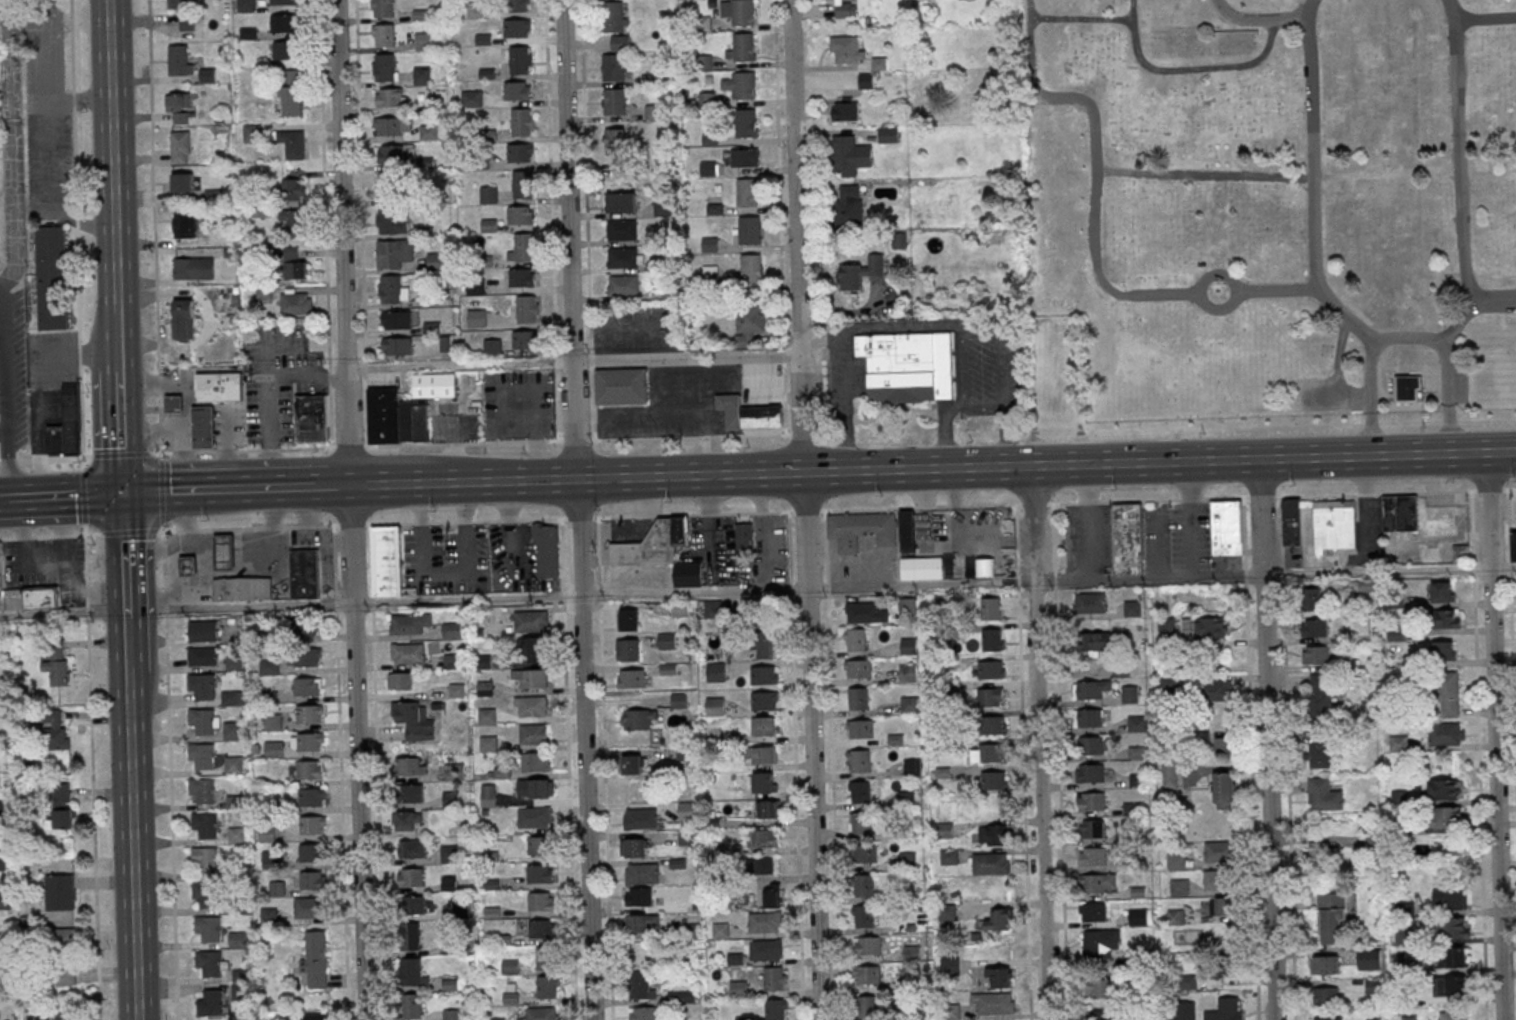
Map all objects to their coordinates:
building: (283, 2)
building: (179, 4)
building: (519, 5)
building: (246, 6)
building: (382, 8)
building: (846, 9)
building: (738, 11)
road: (1484, 16)
building: (614, 17)
road: (1073, 18)
road: (1257, 19)
building: (186, 23)
building: (283, 23)
building: (517, 28)
building: (382, 35)
building: (422, 41)
building: (620, 42)
building: (741, 47)
building: (847, 49)
building: (284, 50)
building: (179, 60)
building: (519, 60)
road: (11, 66)
building: (613, 67)
building: (383, 68)
road: (1189, 68)
building: (421, 75)
building: (866, 80)
building: (741, 85)
building: (516, 91)
road: (1058, 94)
building: (390, 97)
building: (471, 99)
building: (291, 100)
building: (614, 102)
road: (73, 103)
building: (180, 108)
building: (845, 108)
building: (522, 122)
building: (745, 123)
building: (392, 126)
building: (251, 133)
building: (428, 133)
building: (888, 133)
building: (615, 141)
building: (293, 145)
building: (180, 148)
road: (111, 149)
building: (519, 153)
building: (390, 154)
building: (849, 155)
building: (744, 158)
building: (621, 167)
road: (1100, 170)
road: (1457, 170)
road: (778, 174)
road: (549, 177)
road: (585, 177)
building: (182, 183)
road: (1312, 183)
building: (522, 184)
building: (388, 186)
road: (48, 189)
building: (292, 189)
building: (747, 192)
building: (488, 195)
building: (621, 202)
building: (850, 205)
building: (662, 208)
building: (262, 211)
building: (521, 215)
park: (1267, 217)
road: (76, 218)
building: (391, 220)
building: (292, 222)
road: (361, 223)
building: (185, 224)
road: (324, 224)
road: (153, 230)
building: (622, 230)
building: (749, 230)
building: (709, 244)
building: (522, 248)
building: (397, 253)
building: (621, 258)
building: (438, 261)
building: (294, 263)
building: (192, 268)
building: (751, 268)
building: (860, 272)
building: (522, 276)
building: (715, 276)
building: (52, 277)
building: (622, 286)
building: (392, 290)
road: (1280, 291)
building: (296, 303)
road: (1200, 309)
building: (525, 312)
road: (851, 313)
building: (476, 318)
building: (184, 320)
building: (396, 320)
road: (1461, 321)
building: (749, 324)
road: (878, 327)
road: (117, 334)
road: (1407, 336)
building: (525, 340)
road: (1338, 345)
building: (397, 346)
building: (492, 348)
road: (78, 349)
road: (72, 352)
road: (783, 355)
road: (591, 361)
road: (555, 362)
road: (573, 362)
building: (907, 365)
road: (961, 366)
road: (1001, 381)
building: (620, 384)
building: (220, 386)
building: (436, 386)
road: (171, 387)
building: (1405, 387)
parking lot: (1321, 393)
road: (269, 394)
road: (1359, 397)
road: (7, 398)
building: (174, 402)
road: (784, 402)
road: (845, 402)
road: (593, 409)
road: (893, 409)
road: (557, 410)
road: (982, 411)
road: (940, 412)
building: (748, 414)
building: (396, 418)
building: (312, 419)
road: (844, 419)
road: (826, 422)
road: (809, 423)
building: (66, 425)
building: (204, 426)
road: (4, 427)
road: (204, 427)
road: (157, 429)
road: (945, 430)
road: (121, 432)
road: (821, 432)
road: (802, 435)
road: (819, 435)
road: (689, 437)
road: (575, 440)
road: (462, 444)
road: (38, 445)
road: (349, 447)
road: (242, 451)
road: (229, 454)
road: (121, 455)
road: (787, 457)
road: (822, 457)
road: (54, 459)
road: (1159, 461)
road: (8, 463)
road: (595, 464)
road: (558, 465)
road: (576, 478)
road: (321, 486)
road: (342, 486)
road: (215, 489)
road: (1480, 490)
road: (161, 491)
road: (1434, 491)
road: (1399, 492)
road: (1365, 493)
traffic signals: (124, 494)
road: (1315, 495)
road: (74, 496)
road: (1261, 496)
road: (12, 498)
road: (83, 498)
road: (1224, 498)
road: (1190, 499)
road: (1138, 500)
road: (1062, 502)
road: (1087, 502)
road: (1033, 503)
road: (993, 504)
road: (940, 506)
road: (956, 506)
road: (924, 507)
road: (867, 508)
road: (576, 509)
road: (804, 509)
road: (349, 510)
road: (806, 510)
building: (1399, 512)
road: (183, 517)
road: (1190, 520)
road: (474, 521)
building: (1291, 521)
building: (1335, 524)
building: (1225, 527)
building: (861, 529)
road: (308, 530)
building: (907, 530)
road: (128, 532)
road: (49, 535)
building: (744, 536)
building: (1127, 537)
road: (1053, 539)
road: (1016, 540)
building: (1514, 545)
road: (26, 546)
building: (546, 550)
building: (225, 551)
road: (259, 552)
building: (1460, 552)
road: (598, 553)
building: (1430, 553)
road: (562, 555)
road: (125, 556)
building: (387, 560)
road: (203, 564)
building: (188, 565)
building: (922, 567)
road: (63, 570)
building: (304, 573)
building: (687, 573)
road: (1054, 582)
road: (1017, 583)
road: (1047, 583)
road: (457, 585)
building: (243, 589)
building: (1441, 591)
building: (26, 595)
road: (599, 596)
road: (563, 598)
building: (1311, 598)
building: (1090, 602)
road: (352, 604)
building: (991, 608)
building: (1133, 608)
building: (867, 611)
road: (63, 616)
building: (1446, 618)
building: (628, 619)
building: (530, 621)
building: (409, 623)
building: (304, 625)
building: (1206, 626)
building: (1314, 627)
building: (1166, 628)
building: (452, 630)
building: (202, 631)
building: (1396, 632)
building: (855, 639)
building: (993, 639)
building: (666, 640)
building: (1097, 641)
building: (765, 643)
road: (128, 645)
building: (909, 645)
building: (533, 647)
building: (627, 649)
building: (1443, 649)
building: (408, 653)
building: (1315, 653)
building: (202, 656)
road: (1511, 657)
building: (307, 658)
building: (453, 661)
building: (234, 663)
building: (55, 667)
building: (268, 667)
building: (858, 667)
building: (991, 668)
building: (715, 671)
building: (907, 672)
building: (764, 674)
building: (631, 677)
building: (532, 678)
building: (400, 681)
building: (1169, 683)
building: (306, 686)
building: (201, 687)
building: (1090, 688)
building: (485, 689)
building: (457, 690)
building: (1215, 690)
building: (1130, 693)
building: (1320, 694)
building: (1446, 694)
building: (991, 696)
building: (858, 697)
building: (232, 698)
building: (679, 700)
building: (764, 700)
building: (909, 703)
building: (531, 706)
building: (309, 714)
building: (1088, 717)
building: (637, 718)
building: (413, 720)
building: (203, 722)
building: (272, 722)
building: (1137, 723)
building: (994, 724)
building: (764, 725)
building: (862, 728)
building: (232, 730)
building: (55, 731)
building: (1446, 733)
building: (533, 734)
road: (1493, 736)
road: (1266, 739)
building: (308, 742)
road: (1039, 742)
building: (1091, 744)
building: (1223, 745)
building: (1321, 748)
building: (273, 749)
building: (987, 752)
building: (762, 754)
road: (1478, 754)
building: (204, 756)
building: (859, 760)
building: (535, 762)
building: (632, 764)
road: (831, 764)
building: (234, 765)
road: (794, 765)
building: (911, 766)
building: (408, 767)
building: (309, 770)
road: (168, 771)
building: (1089, 772)
road: (91, 773)
building: (1170, 775)
building: (995, 779)
building: (765, 782)
building: (541, 788)
building: (1444, 788)
building: (1223, 789)
building: (203, 790)
building: (58, 791)
building: (859, 791)
building: (411, 793)
building: (487, 795)
building: (1323, 795)
building: (312, 797)
building: (450, 799)
building: (1091, 801)
road: (1060, 804)
road: (1024, 805)
building: (768, 808)
road: (605, 811)
building: (685, 811)
road: (568, 812)
building: (1447, 815)
building: (533, 818)
building: (640, 818)
building: (60, 820)
building: (408, 821)
building: (861, 823)
building: (204, 825)
building: (312, 825)
building: (1092, 828)
building: (992, 833)
building: (265, 834)
building: (236, 835)
building: (686, 837)
building: (763, 838)
road: (132, 845)
building: (539, 845)
building: (633, 847)
building: (411, 849)
building: (1218, 851)
building: (310, 852)
building: (1327, 852)
building: (863, 853)
building: (448, 854)
building: (1093, 855)
building: (205, 859)
building: (907, 859)
building: (1176, 859)
building: (997, 862)
building: (2, 863)
building: (763, 865)
building: (539, 873)
building: (642, 873)
building: (410, 878)
building: (1214, 879)
building: (312, 880)
building: (1098, 882)
building: (862, 884)
building: (1179, 887)
building: (57, 892)
building: (203, 894)
building: (772, 895)
building: (638, 896)
building: (5, 900)
building: (541, 901)
building: (413, 905)
building: (1222, 905)
building: (308, 907)
building: (460, 909)
building: (1094, 911)
building: (947, 912)
building: (863, 915)
building: (1176, 916)
building: (1332, 917)
building: (999, 920)
building: (763, 921)
building: (642, 922)
building: (1452, 926)
building: (207, 928)
building: (540, 928)
building: (720, 929)
building: (1403, 935)
building: (411, 936)
building: (65, 941)
building: (1101, 942)
building: (867, 944)
building: (765, 949)
building: (911, 951)
building: (1452, 956)
building: (545, 957)
building: (314, 959)
building: (1369, 959)
building: (210, 964)
building: (1324, 964)
building: (949, 965)
building: (1224, 965)
building: (509, 967)
building: (411, 972)
building: (65, 973)
building: (867, 974)
building: (999, 977)
building: (773, 978)
building: (1188, 981)
building: (639, 983)
building: (239, 984)
building: (1373, 985)
building: (1452, 985)
building: (548, 986)
building: (1100, 987)
building: (738, 988)
building: (680, 995)
building: (1325, 995)
building: (510, 998)
building: (210, 1002)
building: (993, 1002)
building: (867, 1005)
building: (411, 1006)
building: (775, 1008)
building: (1225, 1009)
building: (1182, 1010)
building: (541, 1013)
building: (642, 1013)
building: (451, 1014)
building: (1095, 1015)
building: (1454, 1015)
building: (61, 1016)
building: (311, 1016)
building: (1324, 1017)
building: (1374, 1017)
building: (1408, 1017)

